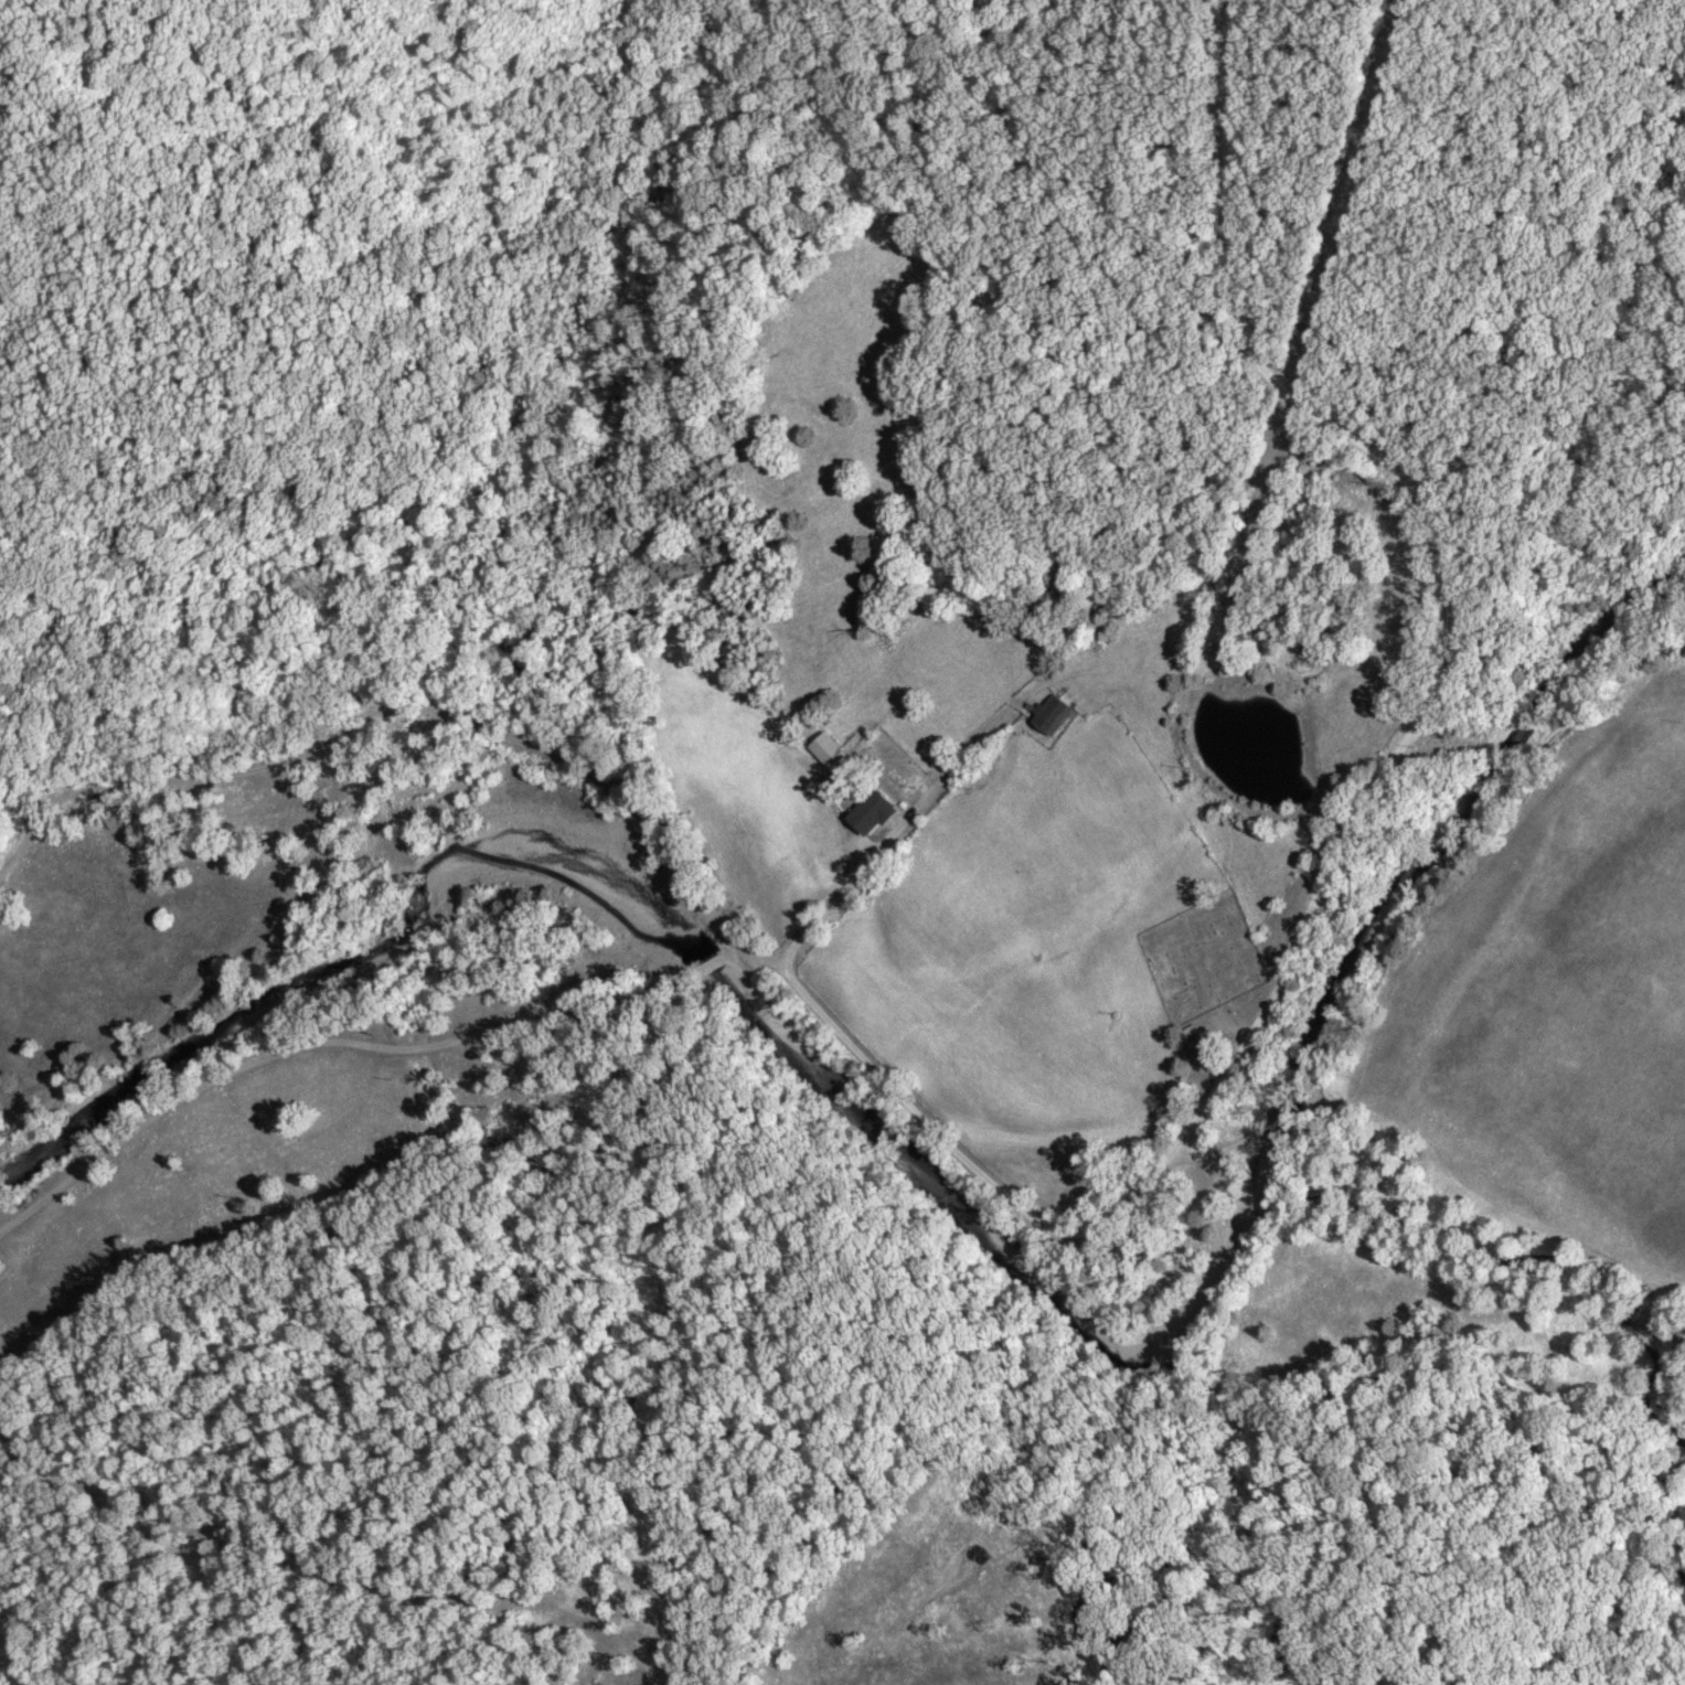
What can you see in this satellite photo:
road: (892, 807)
building: (872, 811)
park: (1202, 958)
road: (1110, 1205)

